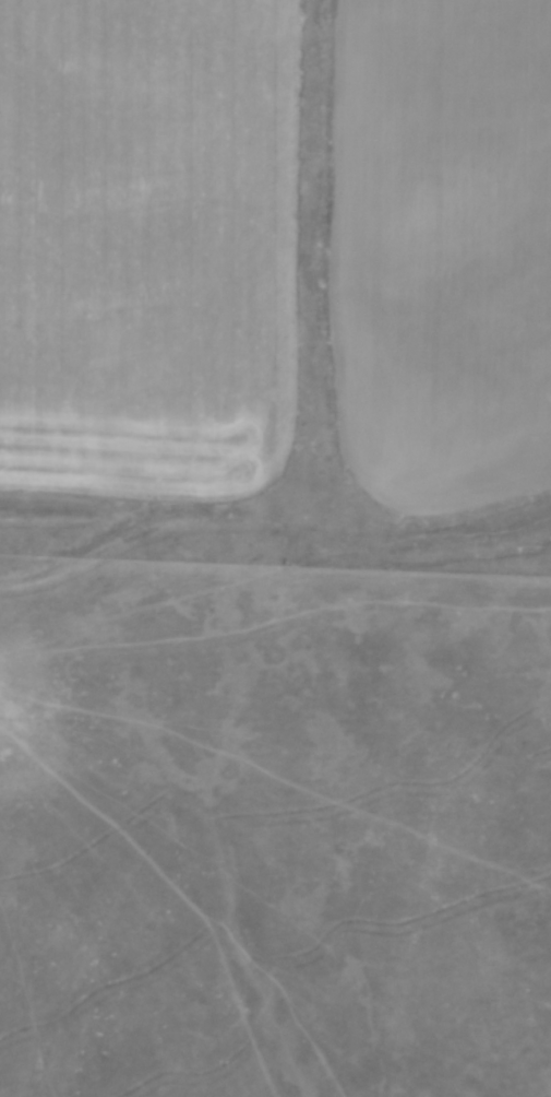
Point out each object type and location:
crop: (146, 245)
crop: (439, 249)

